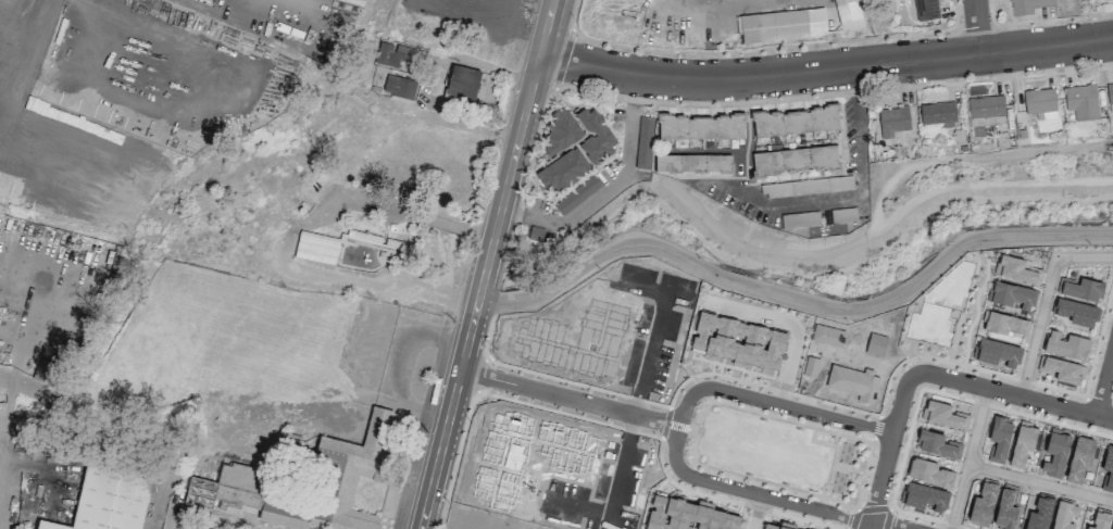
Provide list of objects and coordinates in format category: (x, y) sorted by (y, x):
road: (705, 1)
building: (1028, 5)
building: (926, 10)
building: (846, 14)
building: (781, 25)
road: (979, 28)
building: (398, 54)
road: (825, 72)
building: (463, 84)
road: (435, 86)
building: (399, 87)
building: (1081, 102)
building: (1040, 103)
building: (987, 112)
building: (938, 114)
building: (892, 121)
building: (796, 122)
building: (701, 127)
building: (560, 133)
building: (596, 136)
building: (643, 143)
road: (516, 149)
building: (795, 160)
building: (692, 164)
building: (563, 171)
building: (806, 187)
building: (577, 194)
road: (848, 197)
road: (591, 201)
building: (840, 215)
building: (800, 219)
building: (536, 234)
road: (295, 236)
building: (316, 248)
building: (1016, 269)
building: (1081, 289)
building: (1012, 295)
road: (795, 299)
road: (1043, 301)
building: (1076, 312)
road: (788, 323)
building: (1005, 324)
building: (803, 328)
building: (827, 336)
building: (576, 340)
building: (739, 341)
building: (876, 344)
building: (1067, 345)
building: (997, 352)
building: (1063, 369)
building: (41, 370)
building: (853, 382)
road: (1104, 383)
road: (641, 388)
road: (918, 390)
road: (1006, 395)
road: (568, 399)
road: (772, 402)
road: (450, 413)
building: (1000, 439)
building: (937, 444)
building: (1023, 444)
road: (886, 451)
building: (1056, 453)
building: (526, 455)
road: (968, 458)
building: (1079, 459)
building: (1108, 468)
building: (929, 473)
building: (342, 479)
road: (1040, 482)
building: (226, 489)
road: (751, 493)
building: (924, 496)
building: (108, 500)
road: (758, 513)
building: (687, 515)
road: (460, 520)
building: (1100, 520)
building: (779, 526)
road: (870, 526)
road: (884, 526)
building: (1112, 526)

